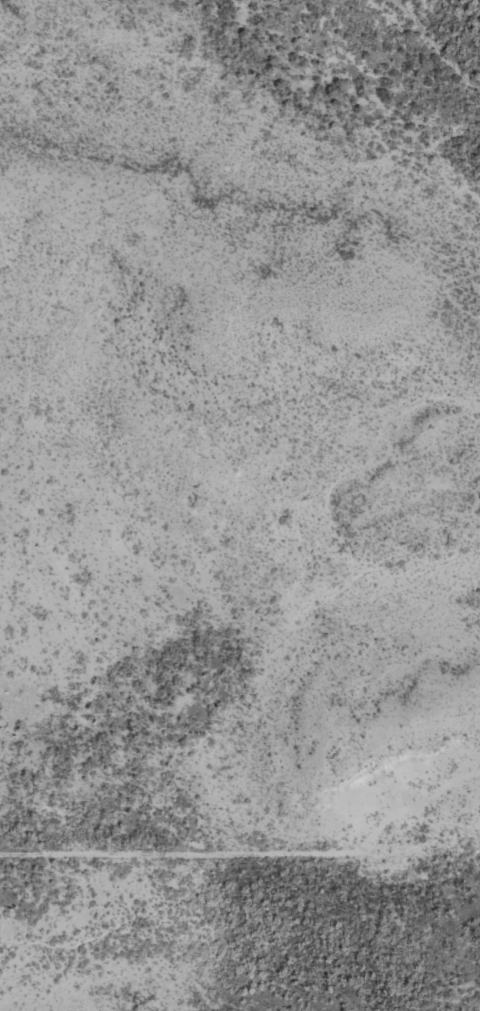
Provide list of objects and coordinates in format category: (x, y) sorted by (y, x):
road: (240, 780)

